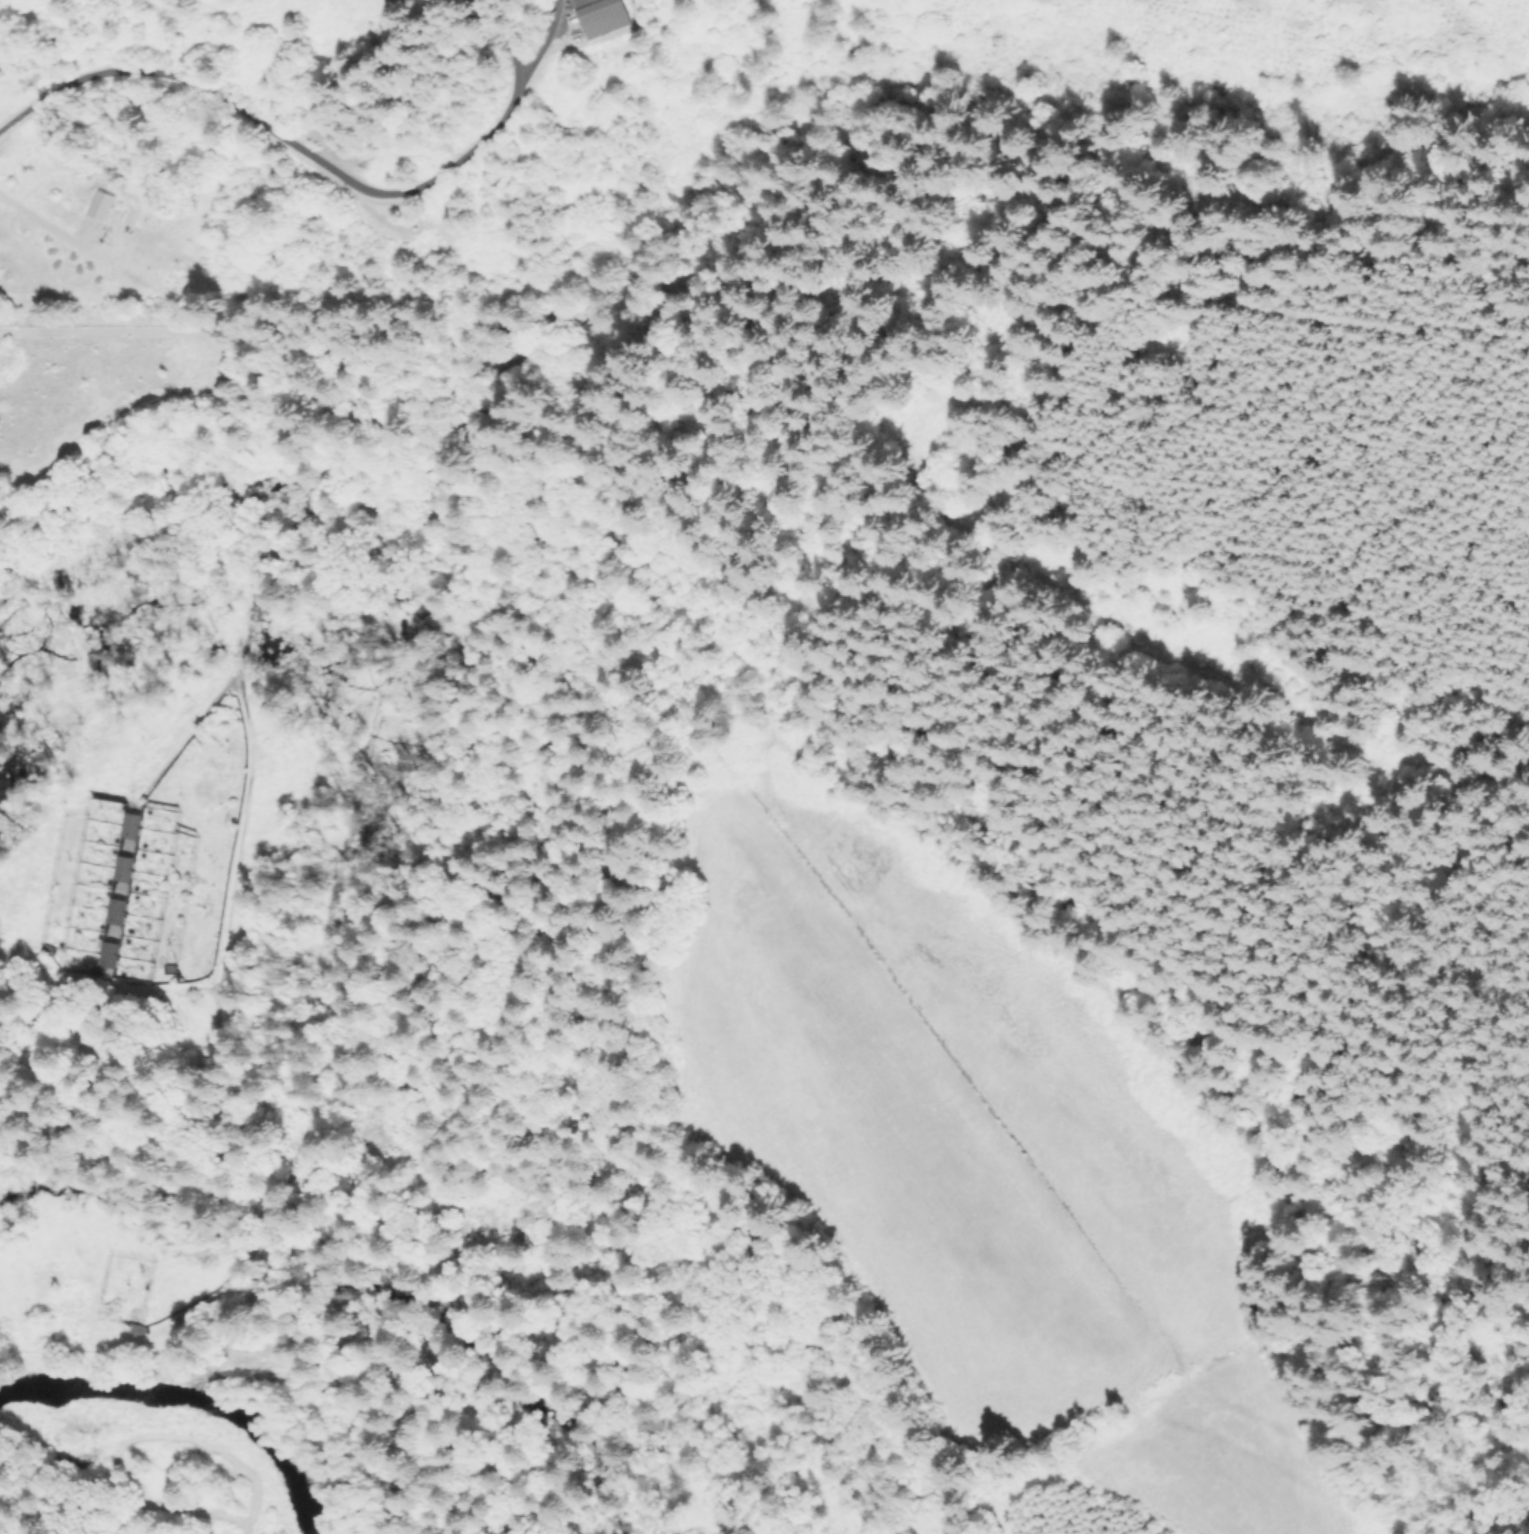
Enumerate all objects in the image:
building: (602, 16)
road: (507, 41)
road: (313, 158)
building: (101, 205)
road: (41, 220)
building: (128, 831)
building: (118, 892)
building: (108, 956)

